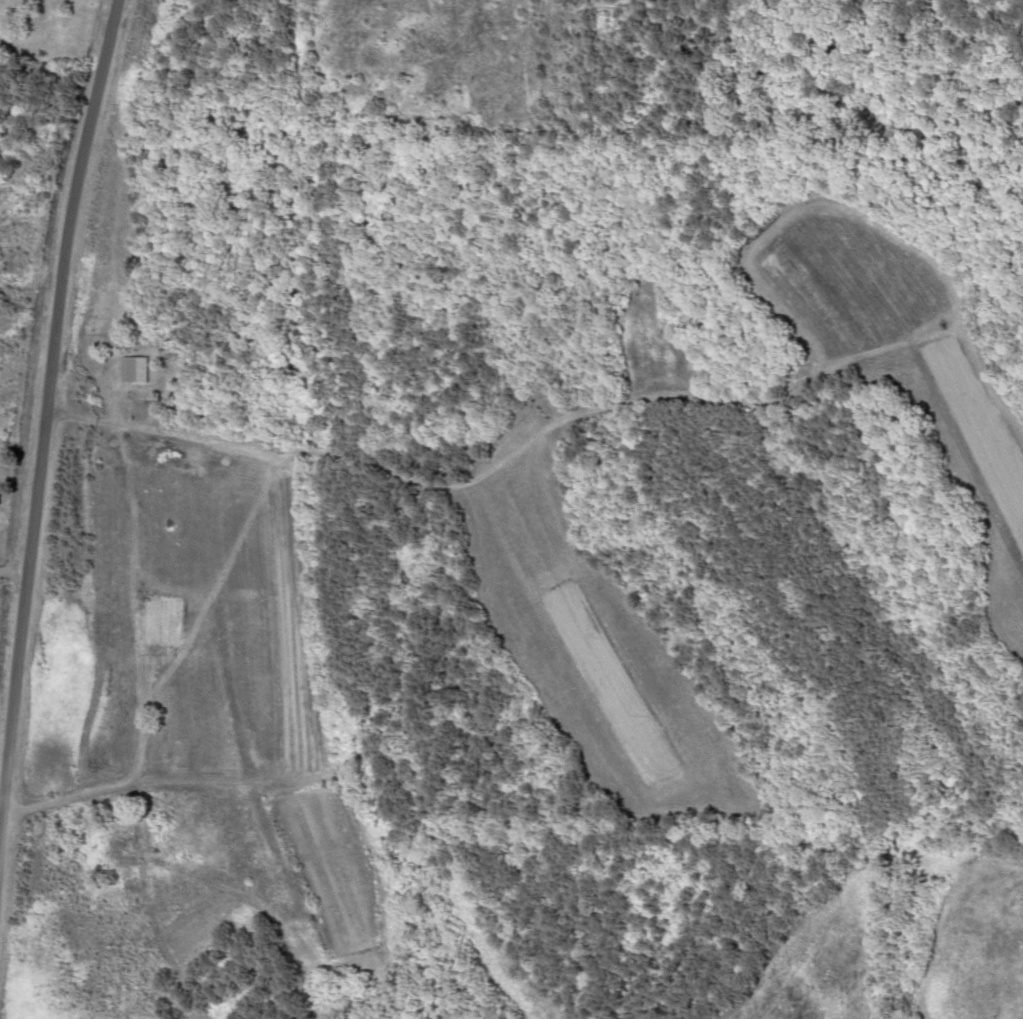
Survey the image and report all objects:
road: (52, 274)
building: (170, 622)
building: (139, 846)

